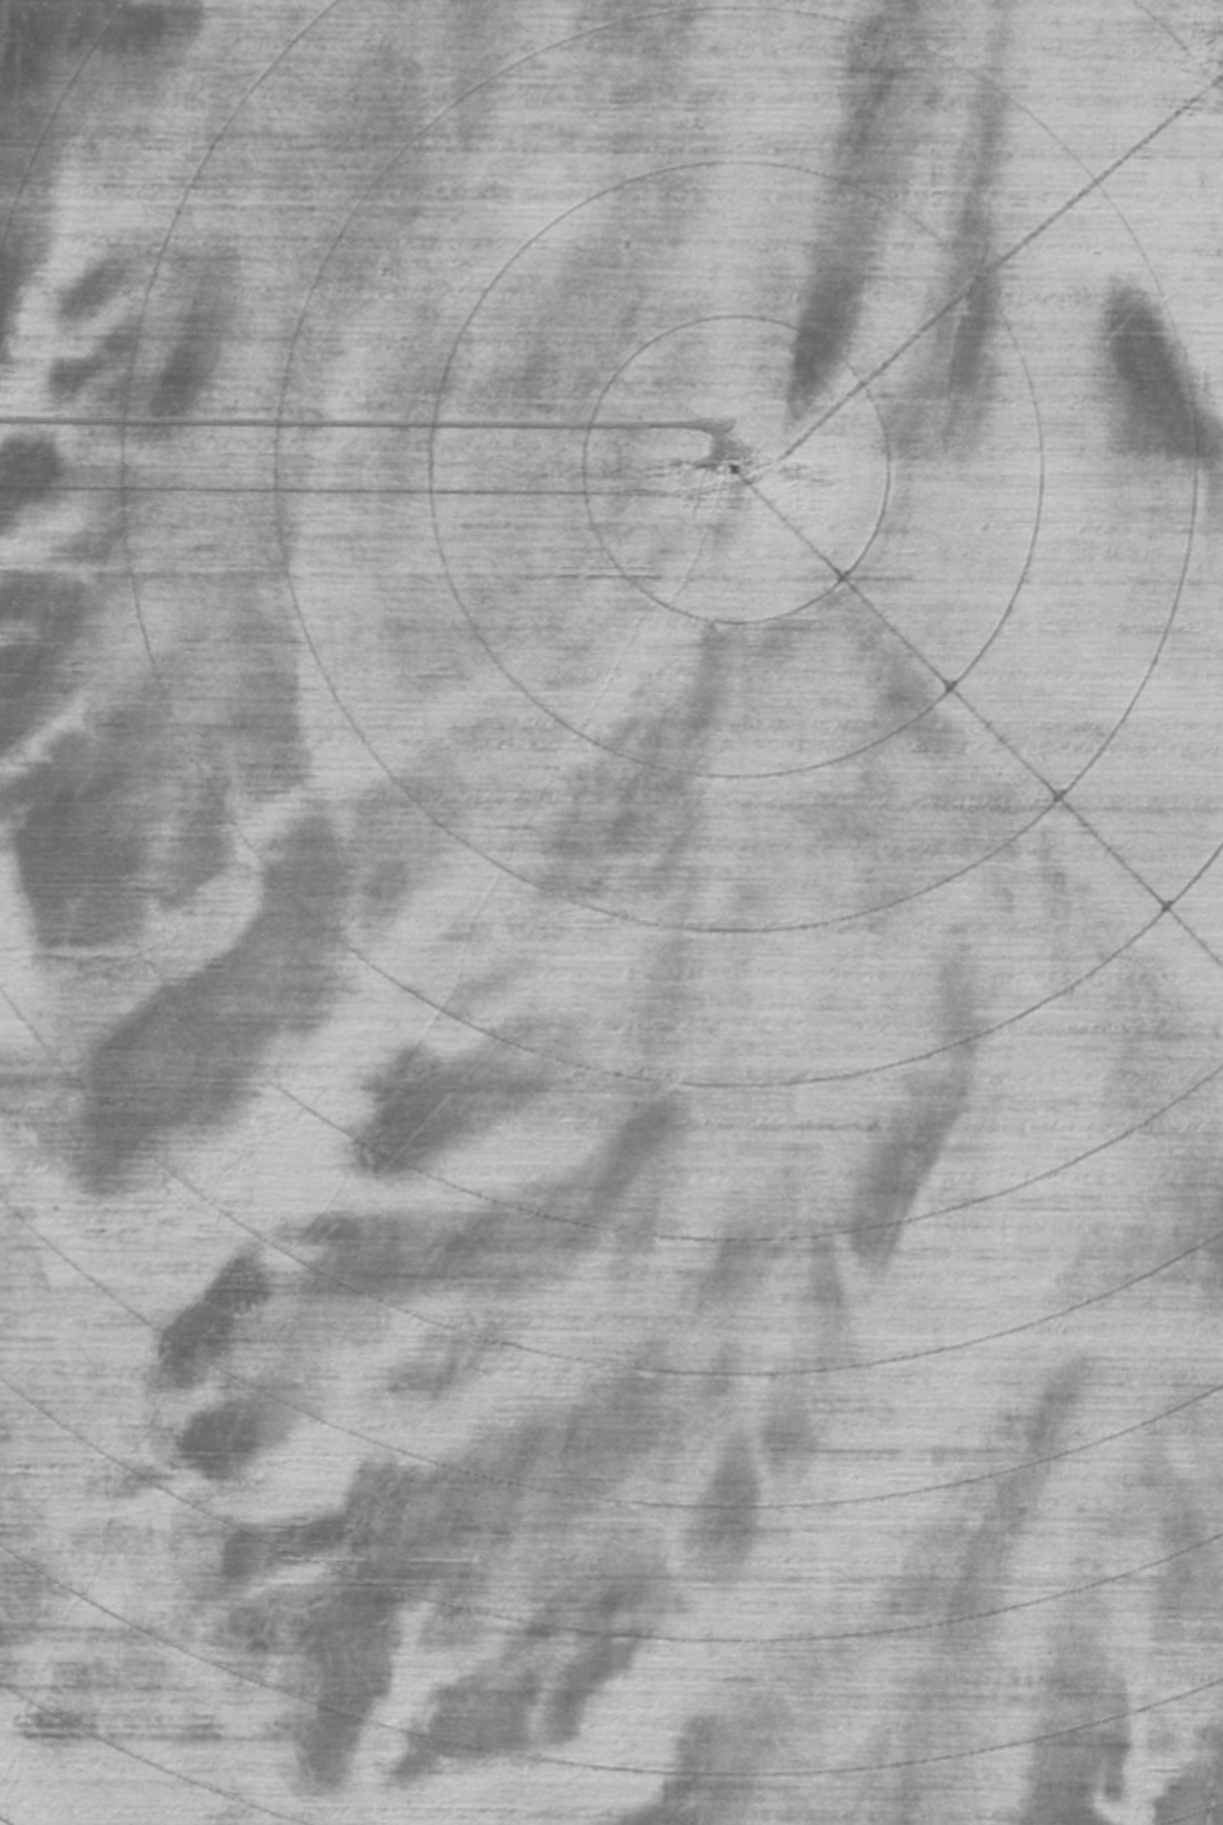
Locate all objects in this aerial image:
crop: (611, 912)

